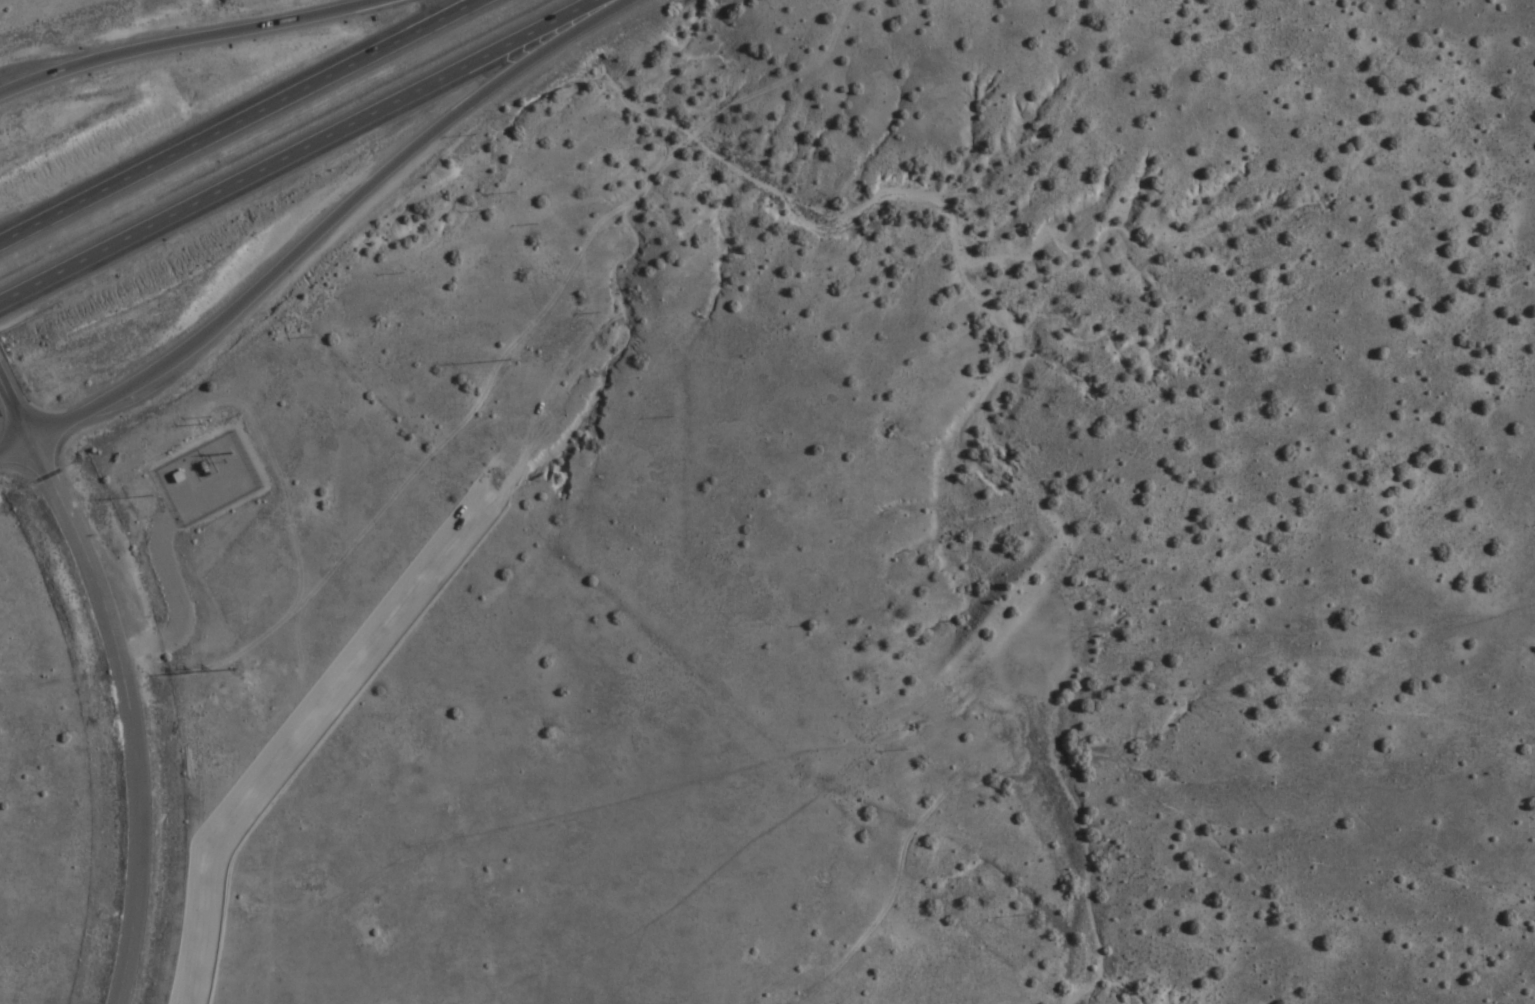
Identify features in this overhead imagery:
road: (179, 43)
road: (244, 124)
road: (307, 155)
road: (337, 221)
road: (18, 403)
road: (18, 447)
power substation: (207, 477)
road: (133, 713)

